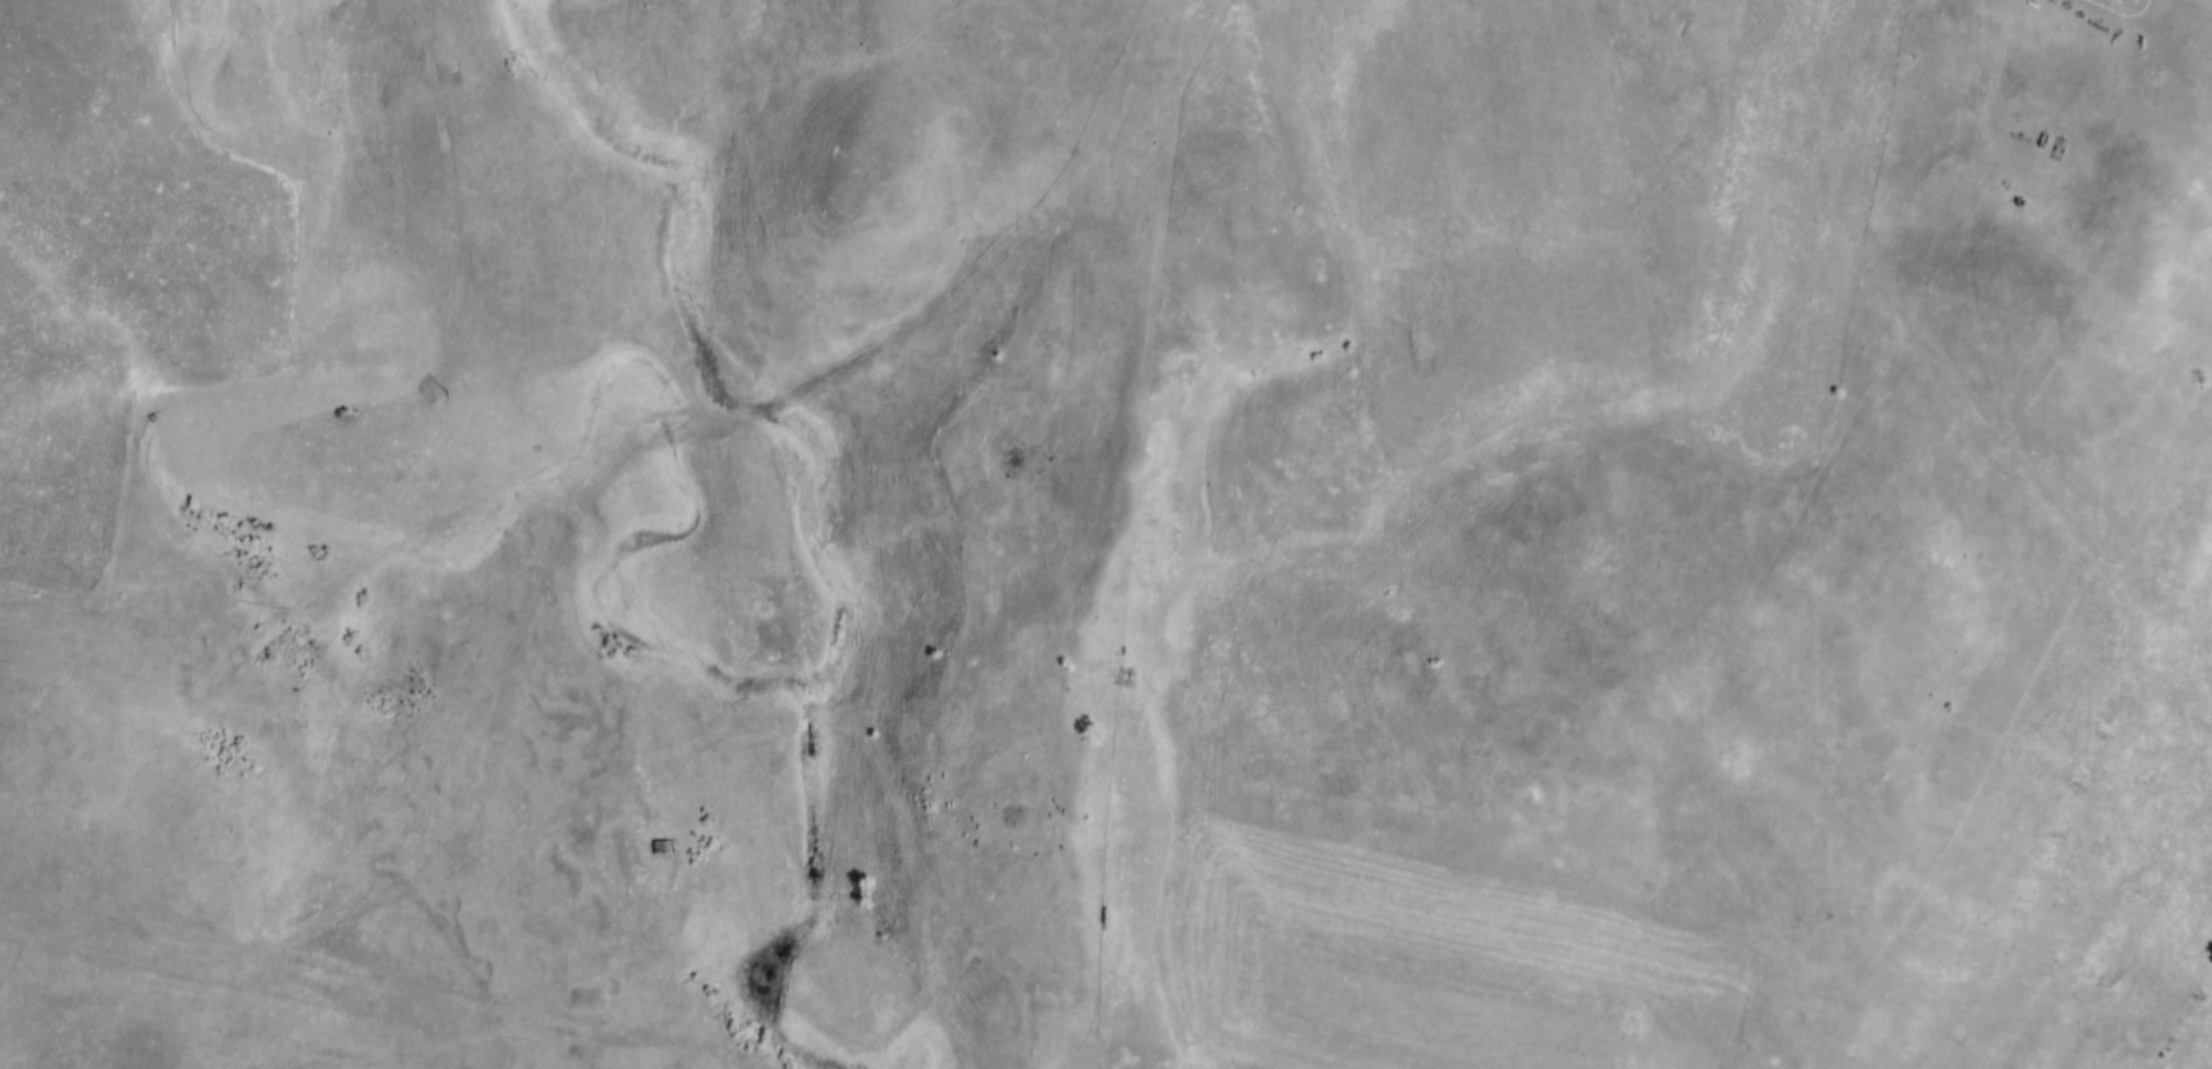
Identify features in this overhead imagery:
road: (540, 426)
building: (662, 846)

